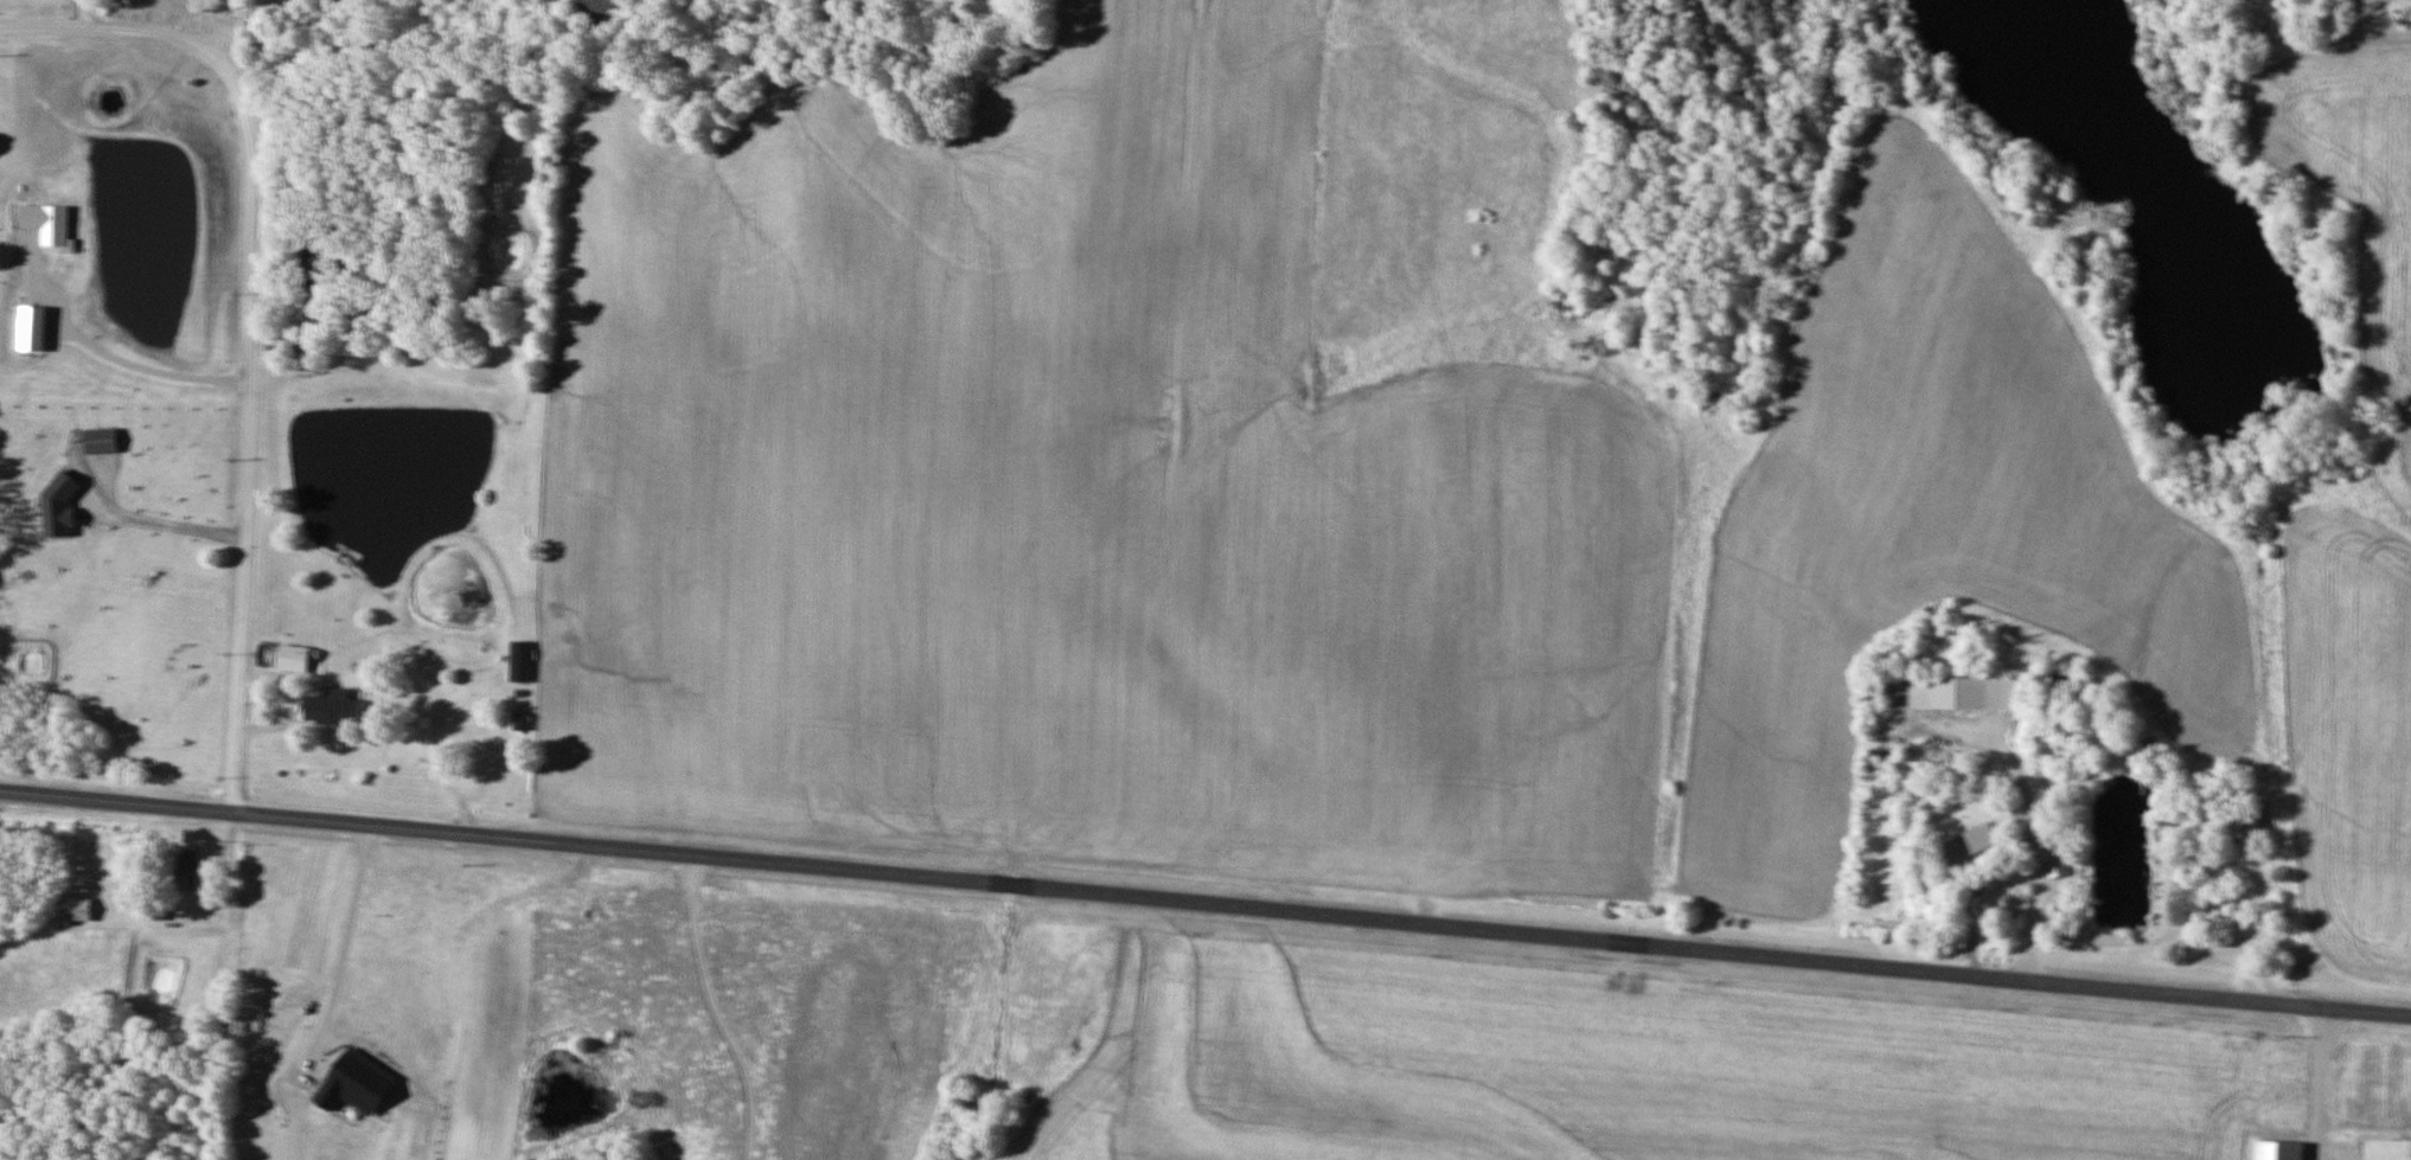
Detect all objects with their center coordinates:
road: (76, 13)
building: (602, 13)
road: (236, 24)
building: (315, 257)
road: (247, 318)
building: (281, 347)
building: (280, 367)
road: (149, 512)
building: (293, 658)
building: (520, 661)
building: (1953, 693)
building: (332, 709)
building: (522, 720)
road: (119, 800)
building: (2244, 820)
road: (2031, 842)
building: (1972, 847)
building: (188, 869)
road: (1969, 896)
building: (75, 909)
road: (1324, 911)
building: (2387, 1149)
building: (2277, 1151)

